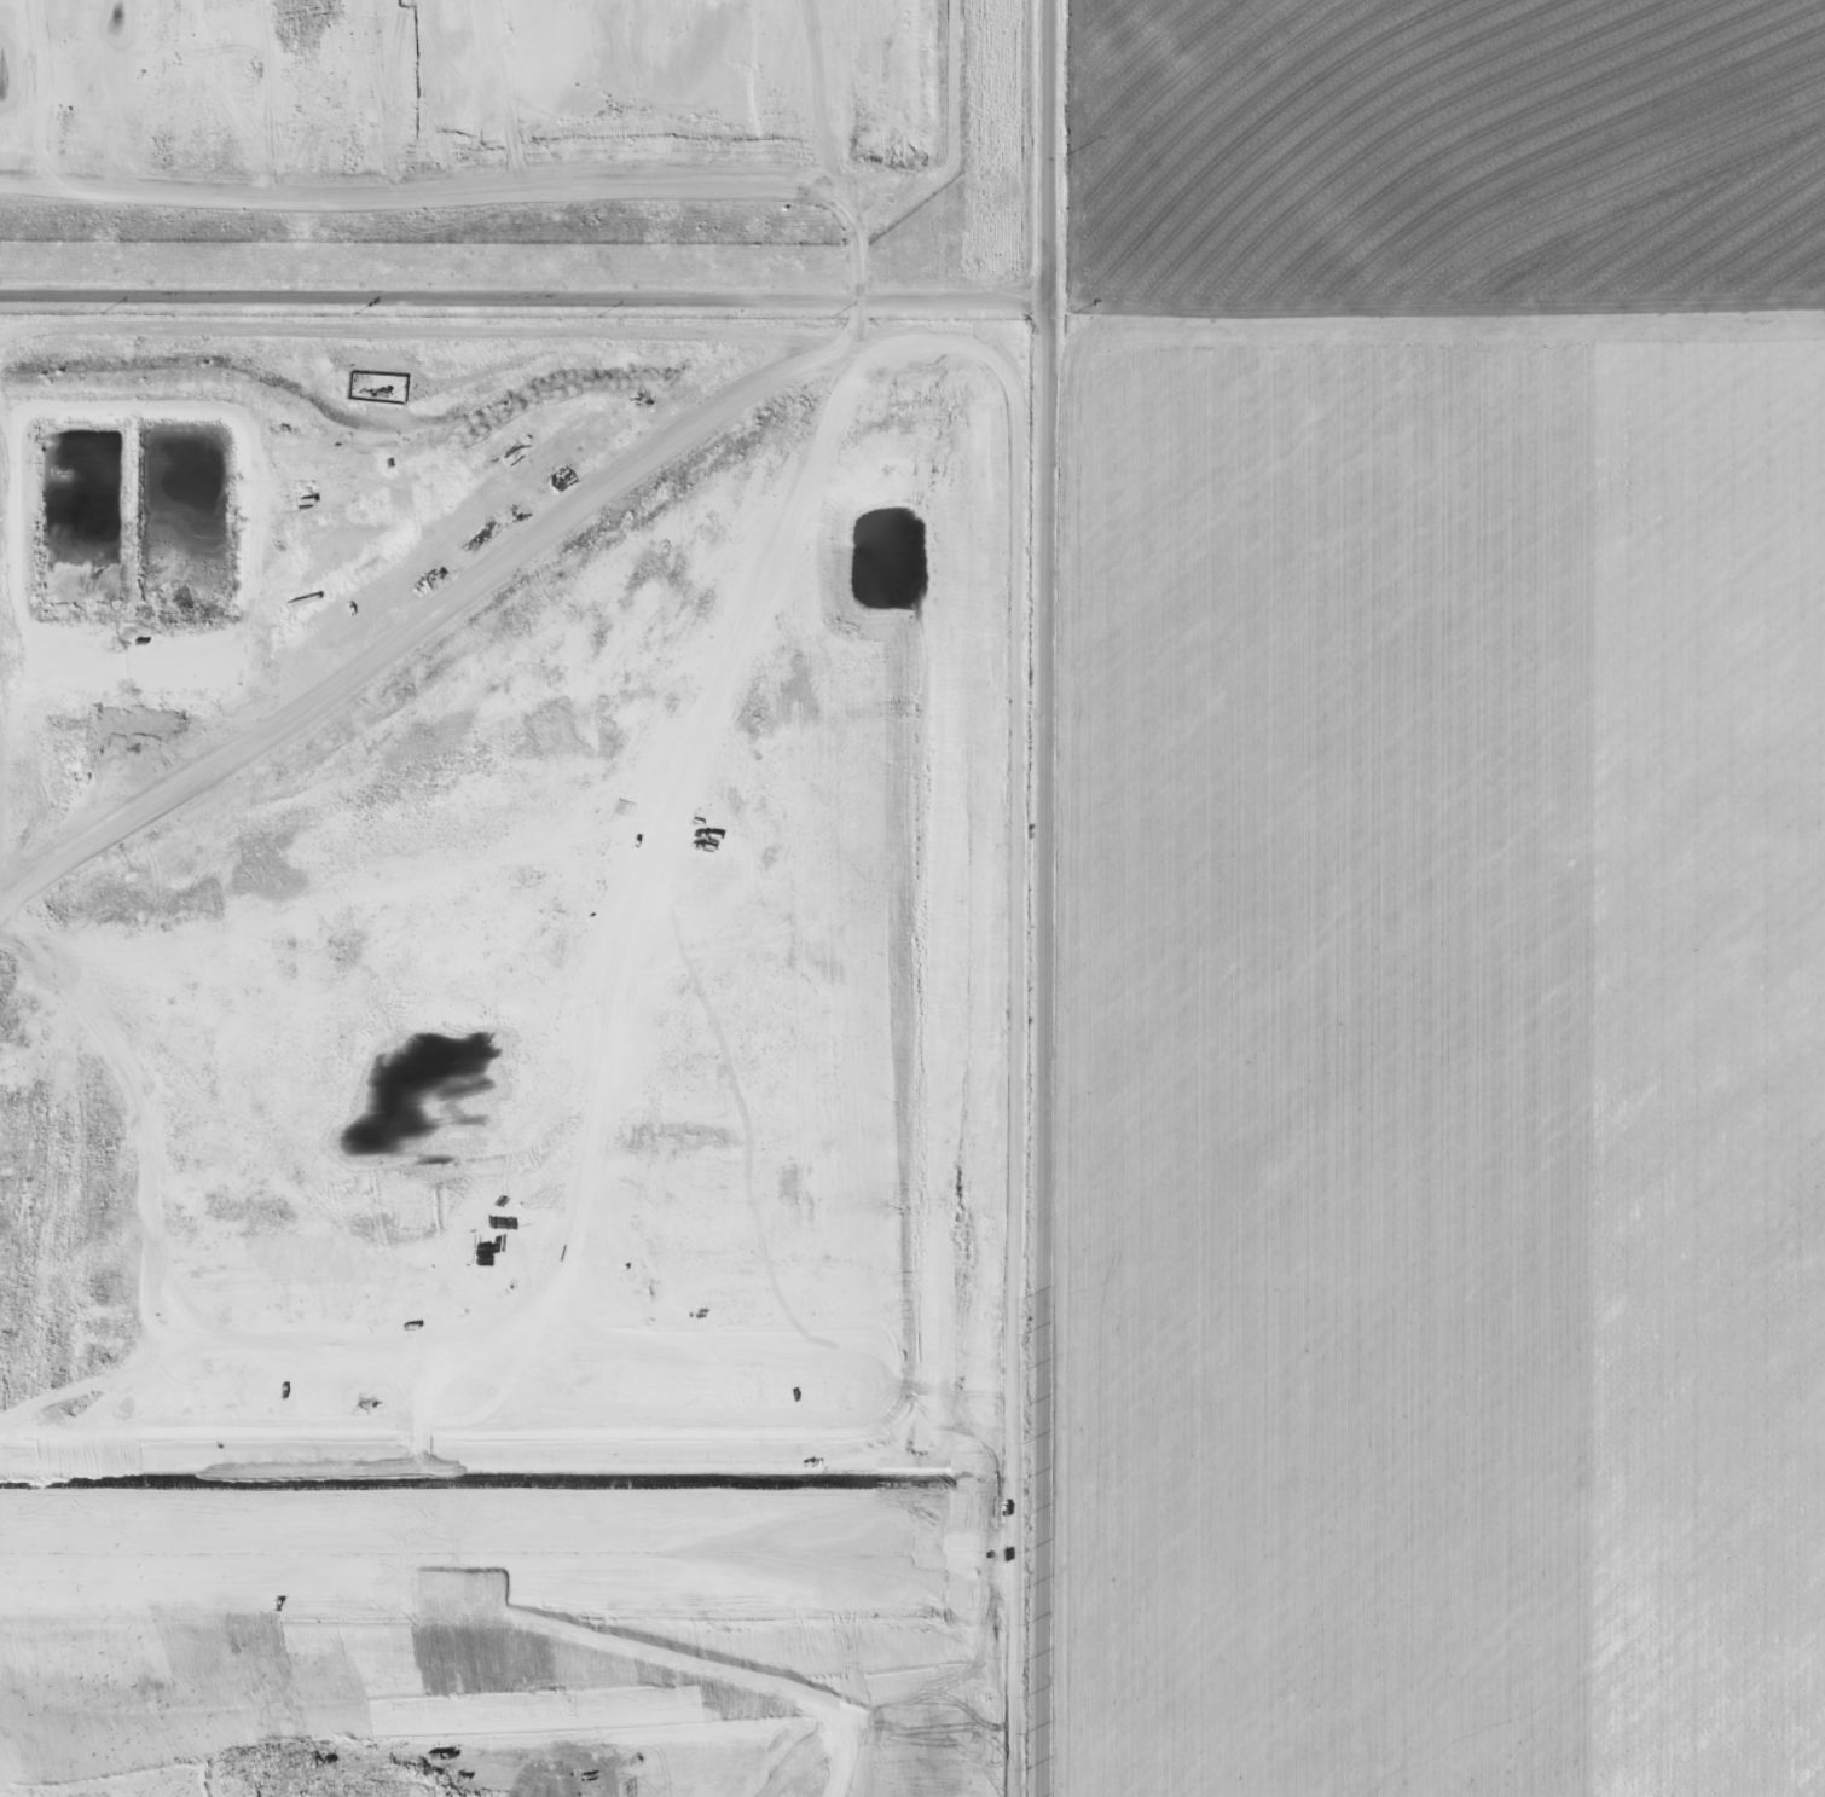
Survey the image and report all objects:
road: (522, 298)
road: (1043, 898)

